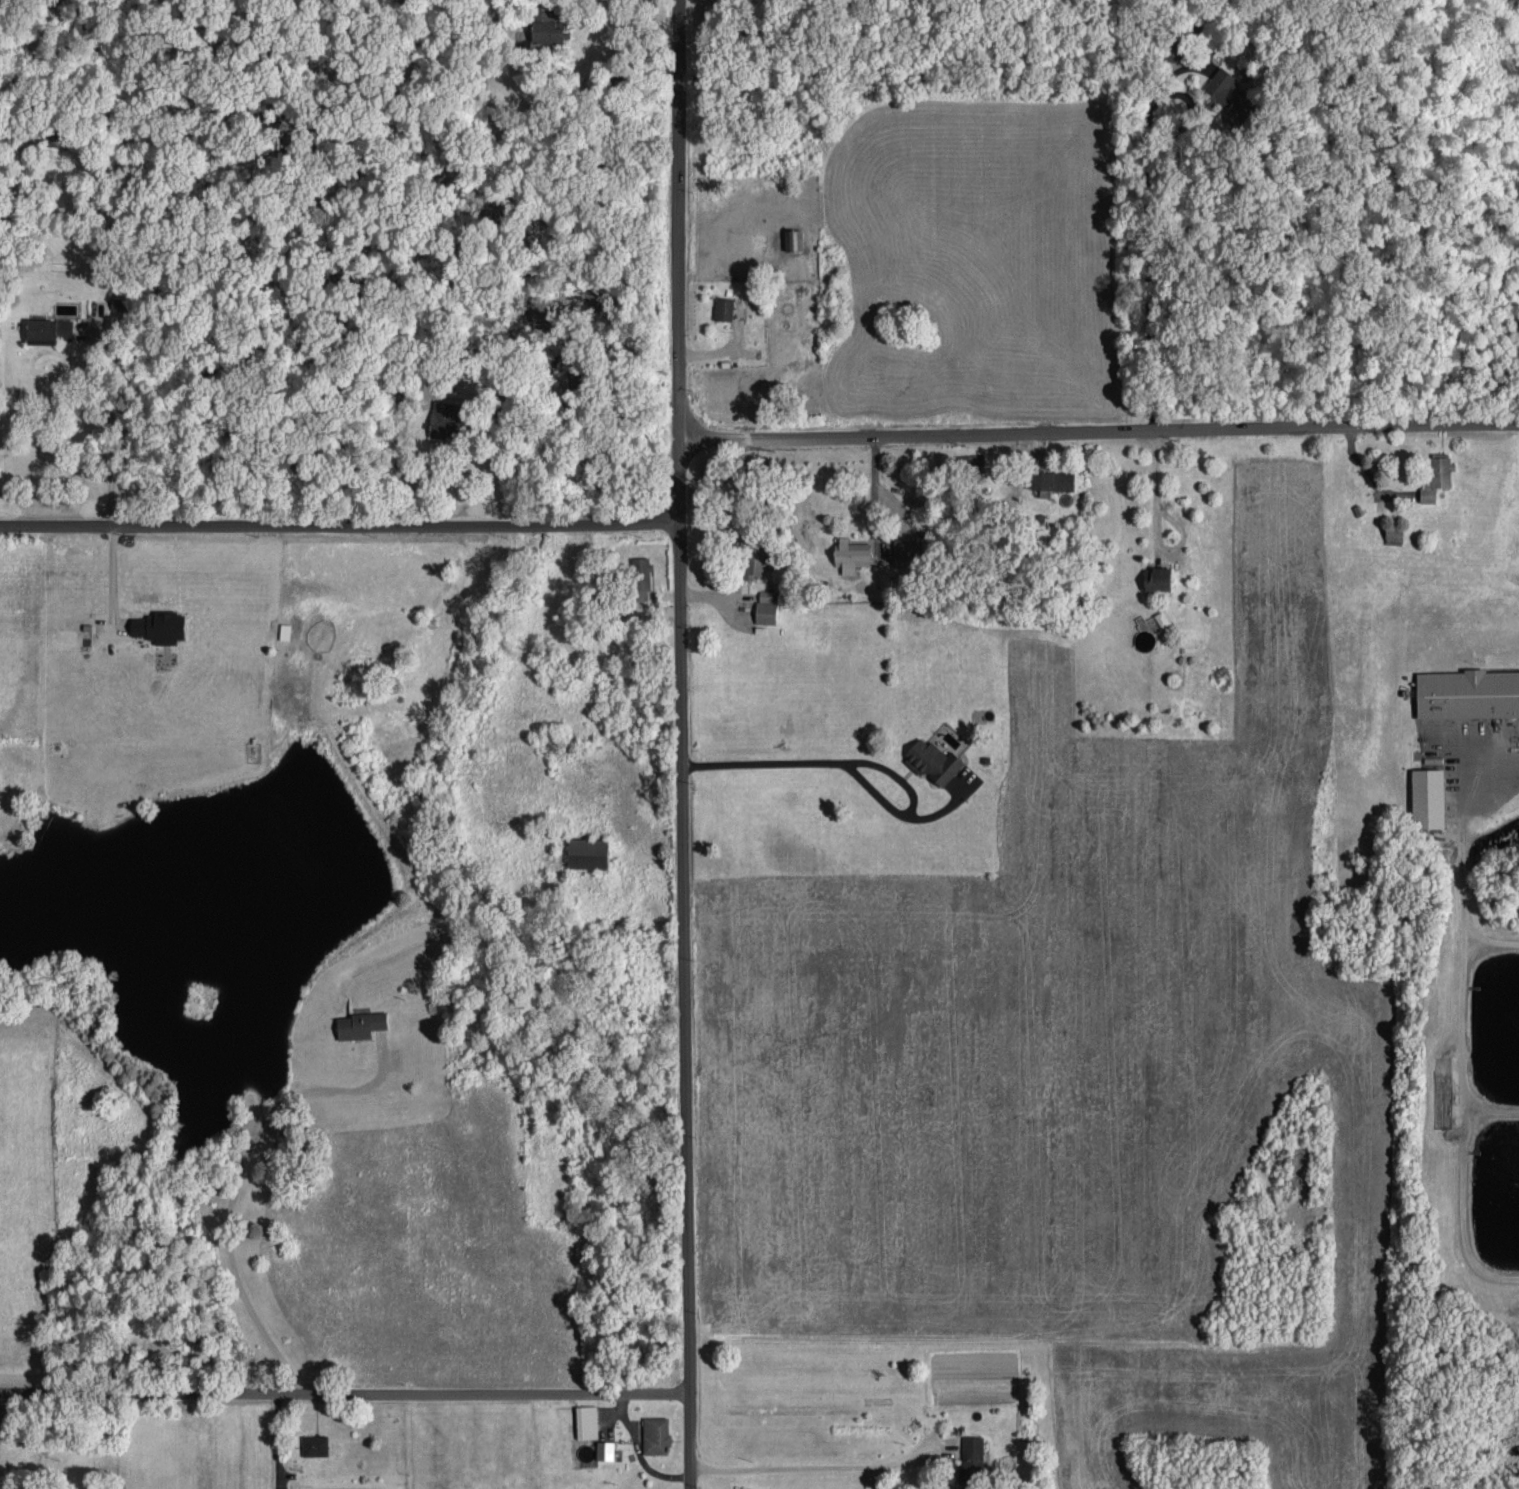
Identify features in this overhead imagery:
building: (547, 24)
building: (794, 238)
building: (723, 307)
building: (49, 329)
building: (448, 416)
road: (109, 429)
road: (1099, 431)
building: (1440, 469)
building: (1053, 479)
building: (1428, 493)
road: (340, 524)
building: (906, 546)
building: (851, 553)
building: (756, 559)
building: (642, 577)
building: (1160, 578)
building: (766, 605)
building: (1162, 617)
building: (160, 625)
building: (285, 630)
building: (1468, 691)
road: (683, 744)
building: (934, 759)
building: (1429, 795)
dam: (360, 810)
building: (588, 850)
building: (361, 1022)
road: (242, 1172)
road: (345, 1390)
building: (586, 1419)
building: (656, 1433)
building: (314, 1443)
building: (605, 1448)
building: (972, 1453)
building: (745, 1488)

